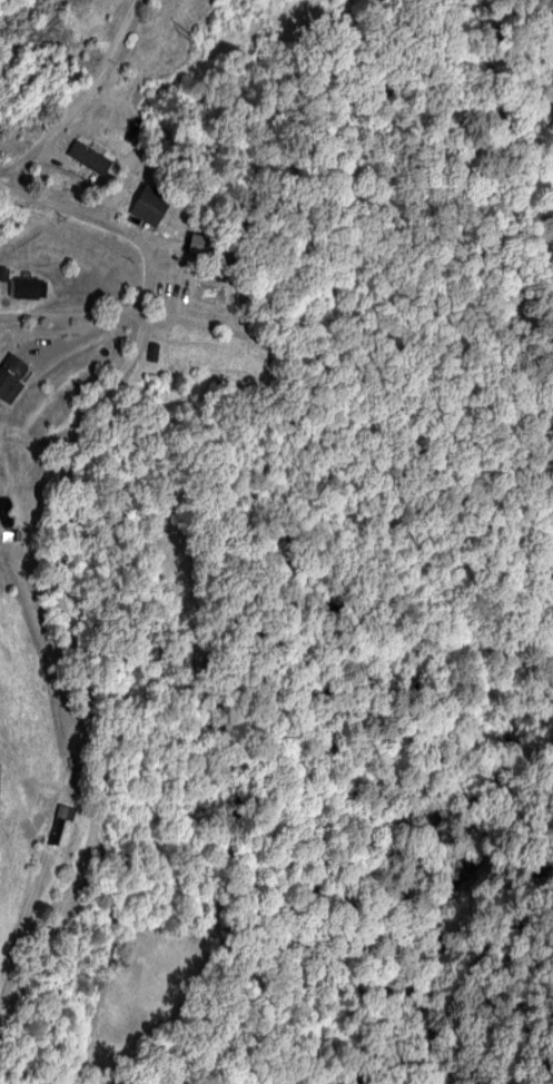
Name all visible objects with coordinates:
road: (76, 100)
building: (88, 157)
road: (8, 171)
building: (148, 205)
building: (197, 243)
building: (24, 287)
road: (72, 316)
building: (151, 351)
building: (10, 376)
road: (73, 560)
building: (59, 821)

